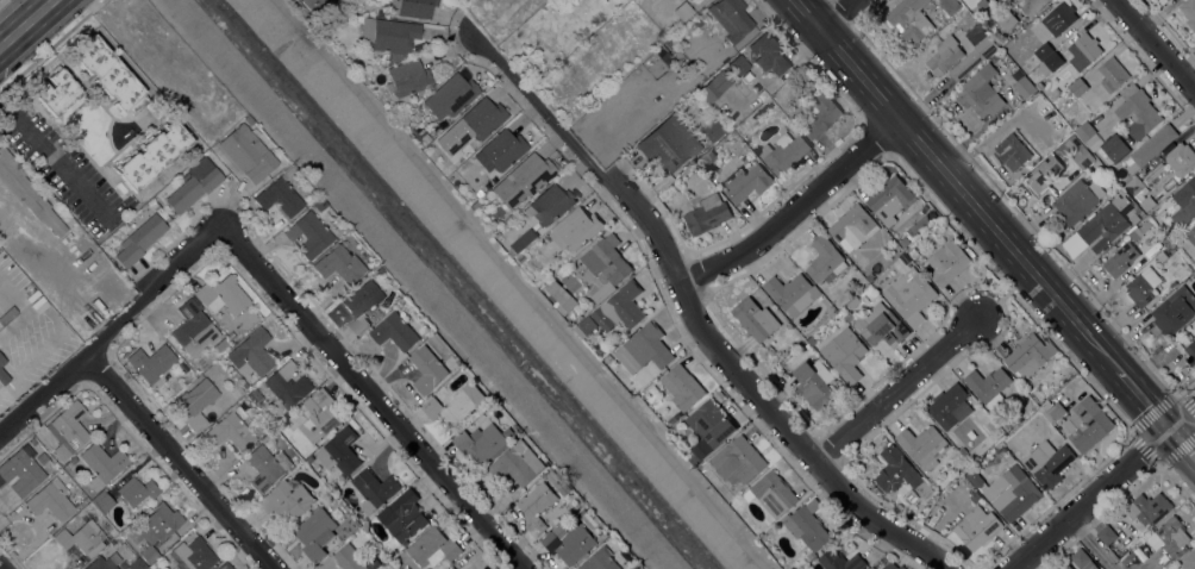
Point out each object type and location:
building: (989, 0)
road: (1, 1)
building: (982, 4)
building: (312, 5)
building: (950, 6)
building: (412, 7)
building: (1031, 7)
building: (683, 10)
building: (976, 10)
building: (378, 12)
building: (1189, 12)
road: (837, 14)
building: (705, 15)
building: (357, 17)
building: (731, 18)
building: (1059, 18)
building: (909, 19)
building: (1007, 19)
road: (25, 23)
building: (699, 23)
railway: (31, 27)
building: (388, 36)
building: (1003, 39)
building: (672, 40)
road: (1153, 46)
building: (1085, 50)
building: (975, 51)
building: (1043, 51)
building: (769, 54)
building: (945, 55)
building: (1050, 63)
building: (738, 64)
building: (355, 67)
building: (110, 74)
building: (1113, 74)
building: (406, 79)
building: (715, 85)
building: (1022, 85)
building: (1039, 85)
building: (1078, 87)
building: (56, 90)
building: (980, 92)
building: (450, 95)
building: (1138, 111)
building: (820, 114)
building: (246, 118)
building: (478, 119)
building: (401, 120)
building: (438, 126)
building: (711, 130)
building: (1046, 130)
building: (1084, 131)
building: (1012, 143)
building: (669, 144)
building: (1150, 148)
road: (50, 149)
building: (1112, 149)
building: (499, 150)
building: (246, 152)
building: (783, 152)
building: (1080, 152)
building: (152, 154)
building: (709, 156)
building: (1181, 158)
building: (1099, 165)
building: (1044, 175)
building: (449, 177)
building: (523, 179)
building: (453, 182)
building: (746, 182)
road: (955, 185)
building: (1134, 186)
building: (193, 188)
building: (27, 192)
building: (1120, 192)
building: (279, 194)
building: (890, 199)
building: (1077, 200)
building: (1150, 201)
building: (1184, 202)
building: (318, 204)
building: (473, 204)
building: (548, 206)
road: (795, 210)
building: (707, 214)
building: (853, 227)
building: (1103, 227)
building: (1147, 227)
building: (576, 229)
building: (308, 233)
building: (498, 233)
building: (1191, 235)
building: (139, 239)
building: (524, 242)
building: (905, 242)
building: (914, 254)
building: (902, 256)
building: (1162, 256)
building: (607, 260)
building: (826, 261)
building: (1114, 262)
building: (337, 263)
building: (947, 263)
building: (371, 264)
building: (900, 265)
building: (376, 269)
building: (871, 274)
road: (525, 284)
building: (1143, 286)
building: (603, 292)
building: (792, 293)
building: (223, 294)
building: (911, 295)
building: (563, 298)
building: (852, 301)
building: (361, 304)
building: (620, 307)
building: (1174, 311)
road: (690, 313)
building: (7, 314)
building: (849, 315)
building: (755, 318)
building: (590, 324)
building: (880, 325)
road: (111, 327)
building: (193, 327)
building: (396, 331)
building: (581, 332)
building: (220, 344)
building: (645, 349)
building: (251, 351)
building: (845, 354)
building: (1189, 354)
building: (1027, 356)
building: (2, 358)
building: (609, 358)
building: (151, 361)
building: (428, 369)
building: (4, 376)
building: (814, 383)
building: (838, 384)
building: (989, 386)
building: (287, 387)
building: (683, 387)
road: (894, 392)
building: (255, 393)
road: (373, 398)
building: (198, 401)
road: (1139, 402)
building: (452, 408)
building: (958, 409)
building: (1051, 411)
building: (319, 415)
building: (258, 418)
building: (674, 419)
building: (1089, 424)
building: (68, 429)
building: (709, 429)
building: (231, 431)
traffic signals: (1166, 434)
building: (484, 442)
building: (988, 442)
building: (922, 445)
road: (1181, 450)
building: (339, 451)
building: (42, 457)
building: (74, 458)
building: (308, 458)
road: (179, 459)
building: (739, 461)
building: (956, 461)
building: (102, 462)
building: (1049, 462)
building: (519, 463)
building: (267, 467)
building: (21, 469)
building: (899, 471)
building: (975, 477)
building: (561, 482)
building: (374, 489)
road: (1106, 489)
building: (134, 490)
building: (775, 493)
building: (1016, 494)
building: (975, 496)
building: (51, 499)
building: (83, 501)
building: (102, 501)
building: (287, 501)
building: (538, 506)
building: (1149, 508)
building: (402, 515)
building: (350, 521)
building: (808, 526)
building: (157, 527)
building: (976, 527)
building: (315, 533)
building: (1107, 534)
building: (602, 536)
building: (1169, 536)
building: (82, 537)
building: (573, 539)
road: (1091, 545)
building: (432, 548)
building: (194, 552)
building: (352, 558)
building: (601, 559)
building: (1082, 559)
building: (841, 561)
building: (1131, 561)
building: (1189, 561)
building: (104, 562)
building: (133, 563)
building: (462, 564)
building: (225, 565)
building: (891, 565)
building: (1064, 565)
road: (0, 568)
building: (451, 568)

